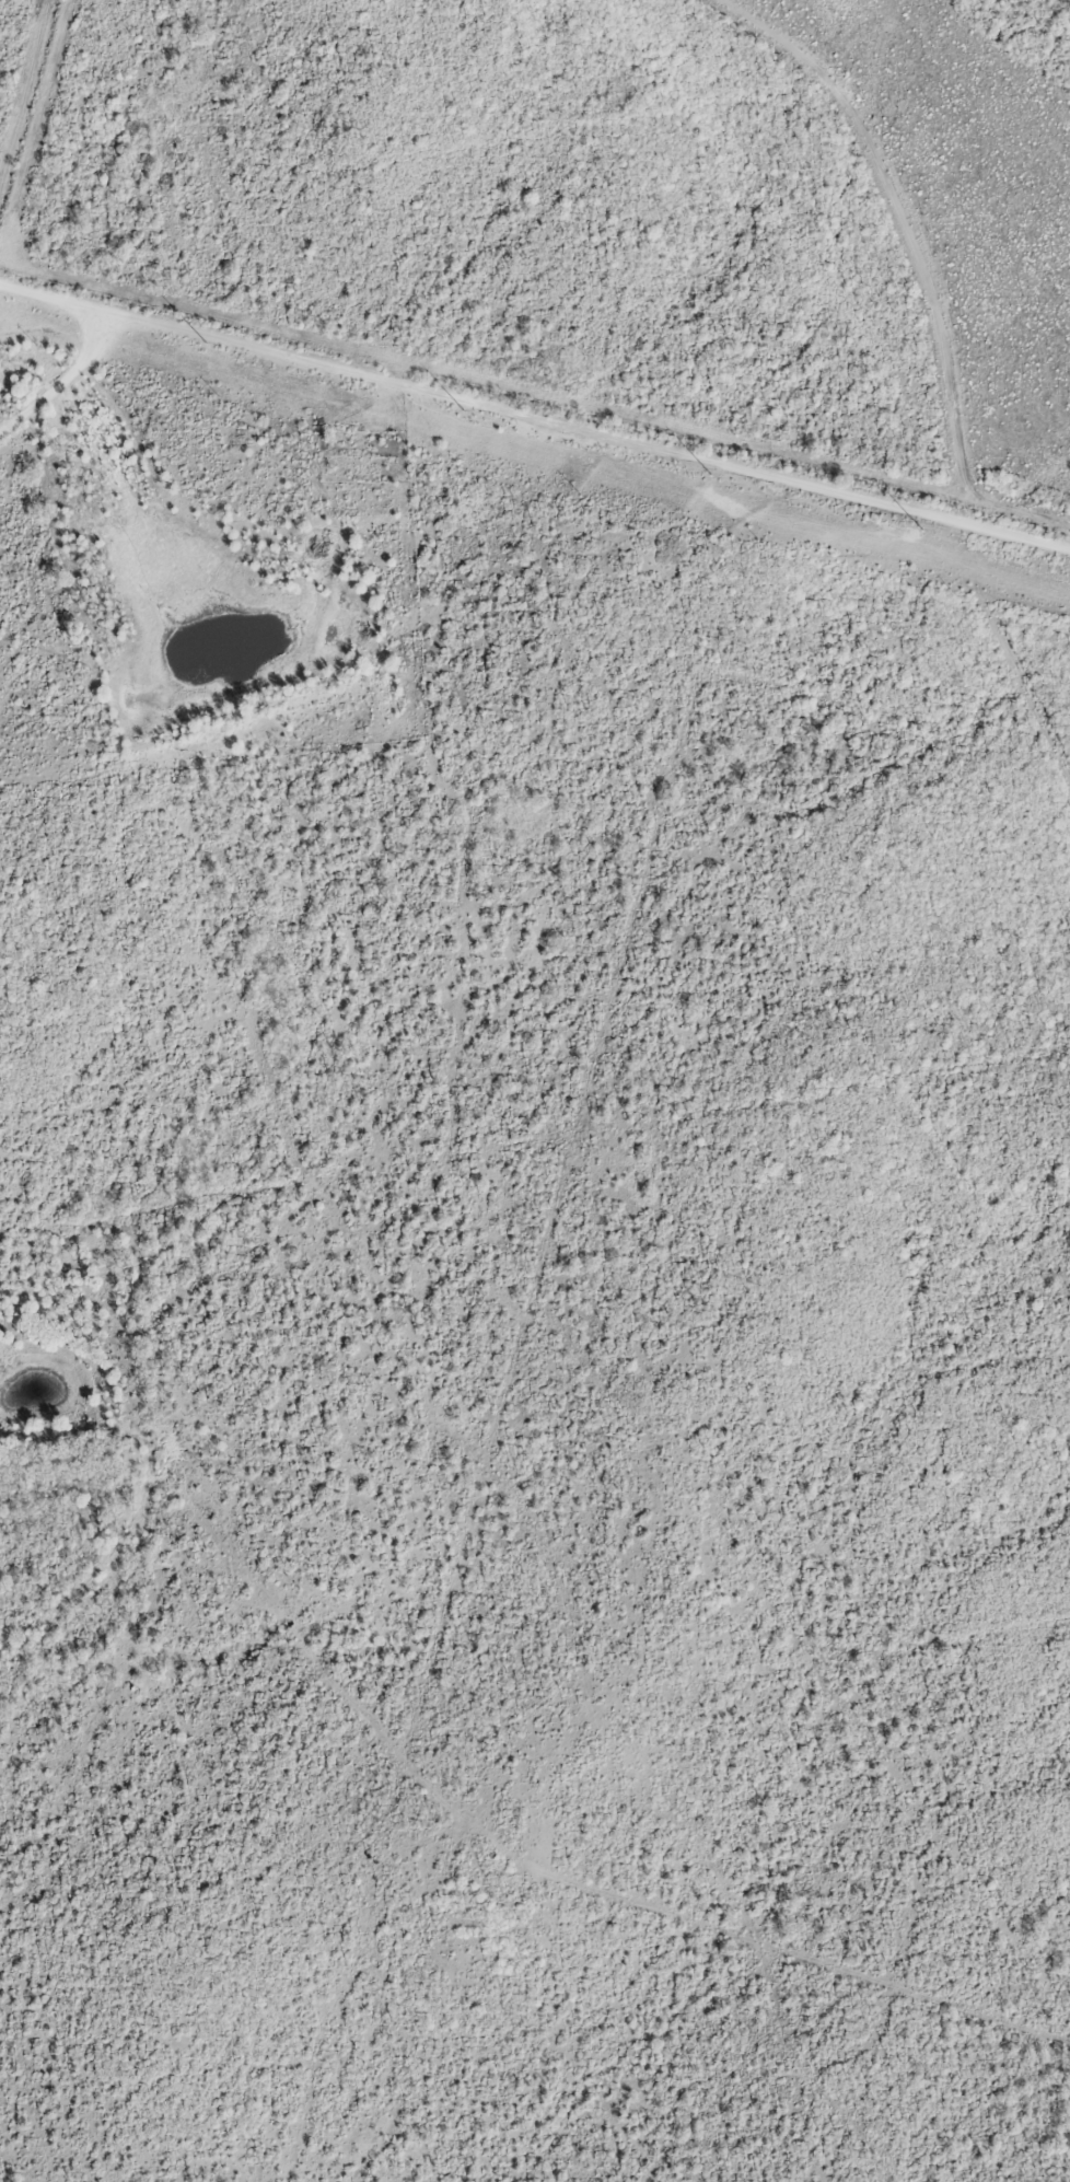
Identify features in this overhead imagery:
power tower: (205, 343)
power tower: (466, 409)
road: (534, 417)
power tower: (712, 474)
power tower: (926, 529)

